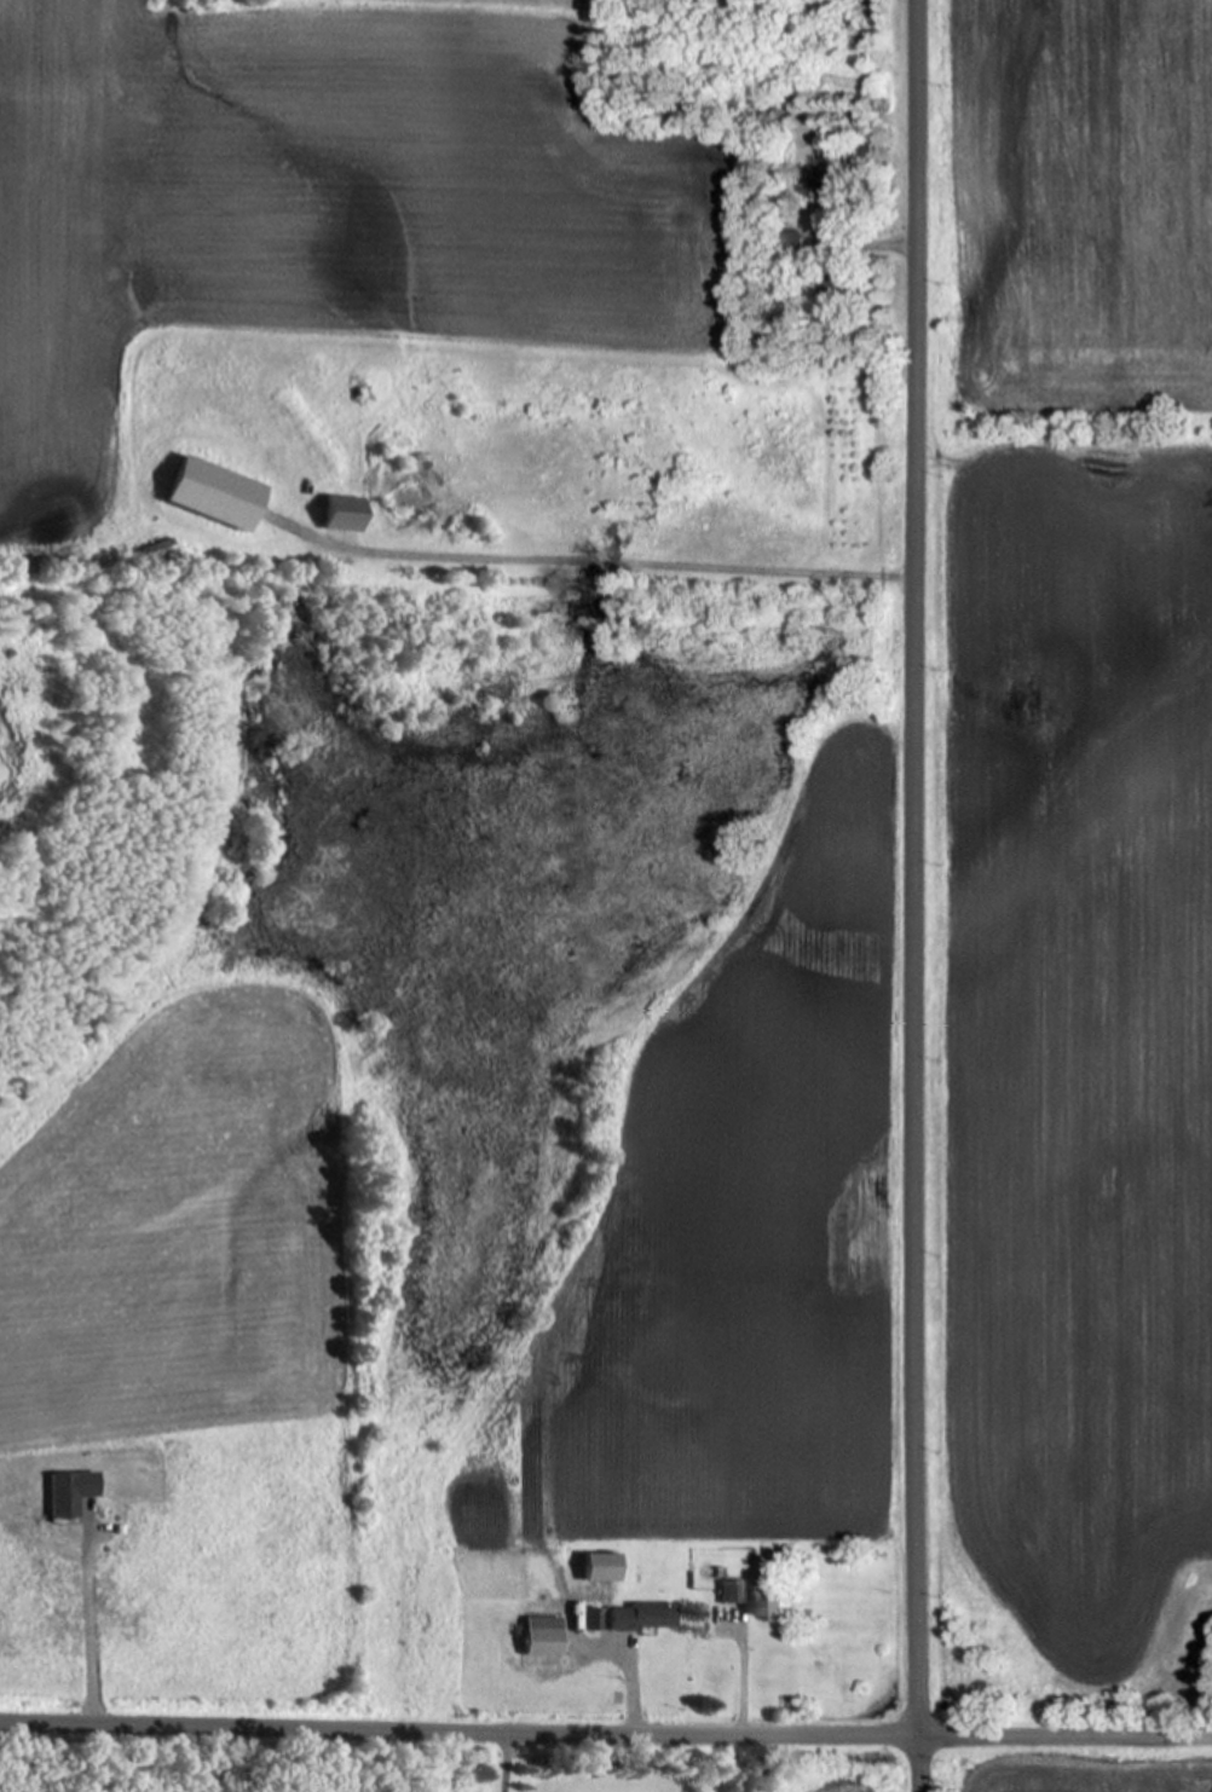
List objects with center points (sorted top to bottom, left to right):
building: (836, 183)
building: (791, 244)
building: (219, 495)
building: (347, 514)
road: (601, 555)
road: (912, 896)
building: (604, 1570)
building: (734, 1594)
building: (773, 1606)
building: (645, 1618)
building: (593, 1620)
road: (99, 1634)
building: (544, 1638)
road: (457, 1729)
road: (1063, 1738)
road: (512, 1761)

